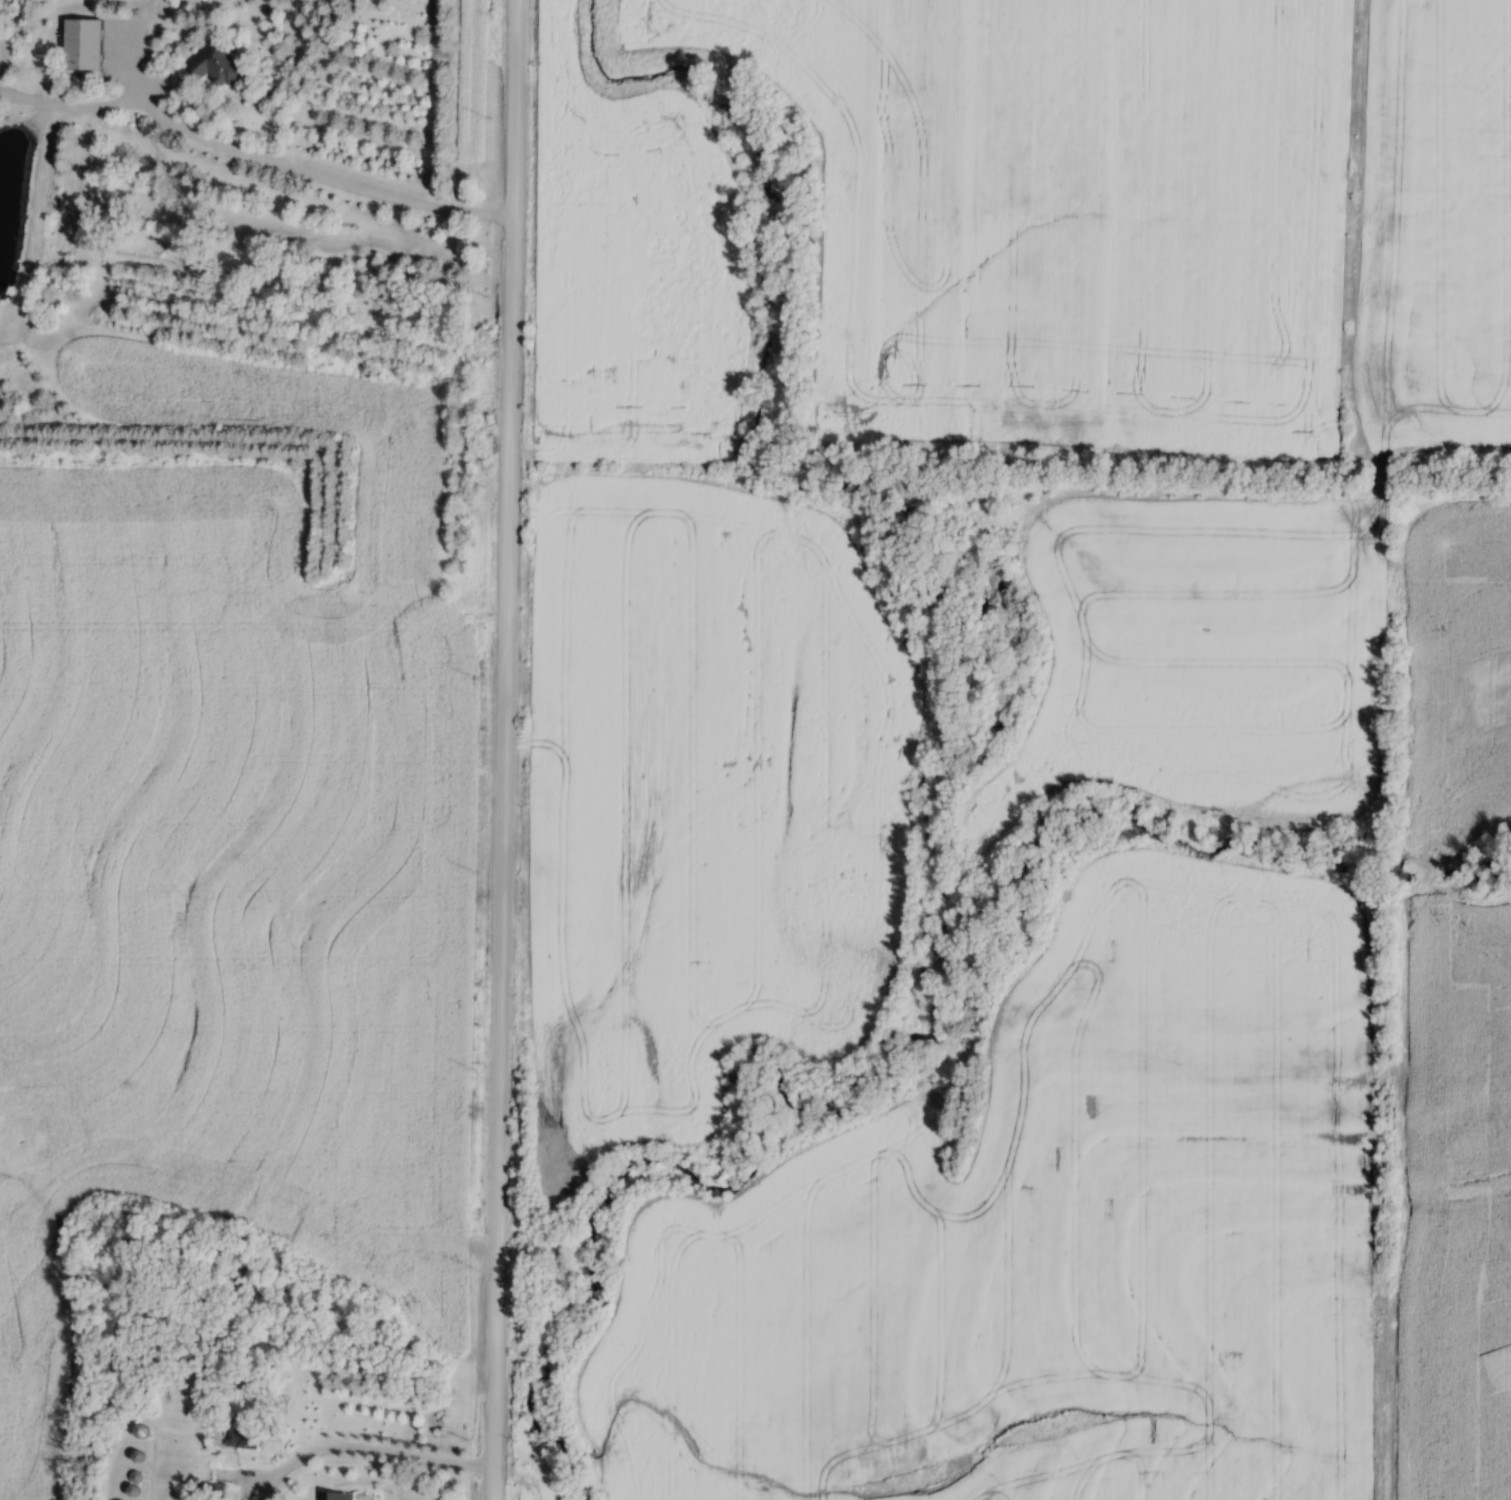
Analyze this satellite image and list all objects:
building: (79, 44)
building: (212, 65)
road: (504, 750)
building: (137, 1430)
building: (236, 1436)
building: (221, 1473)
building: (334, 1495)

